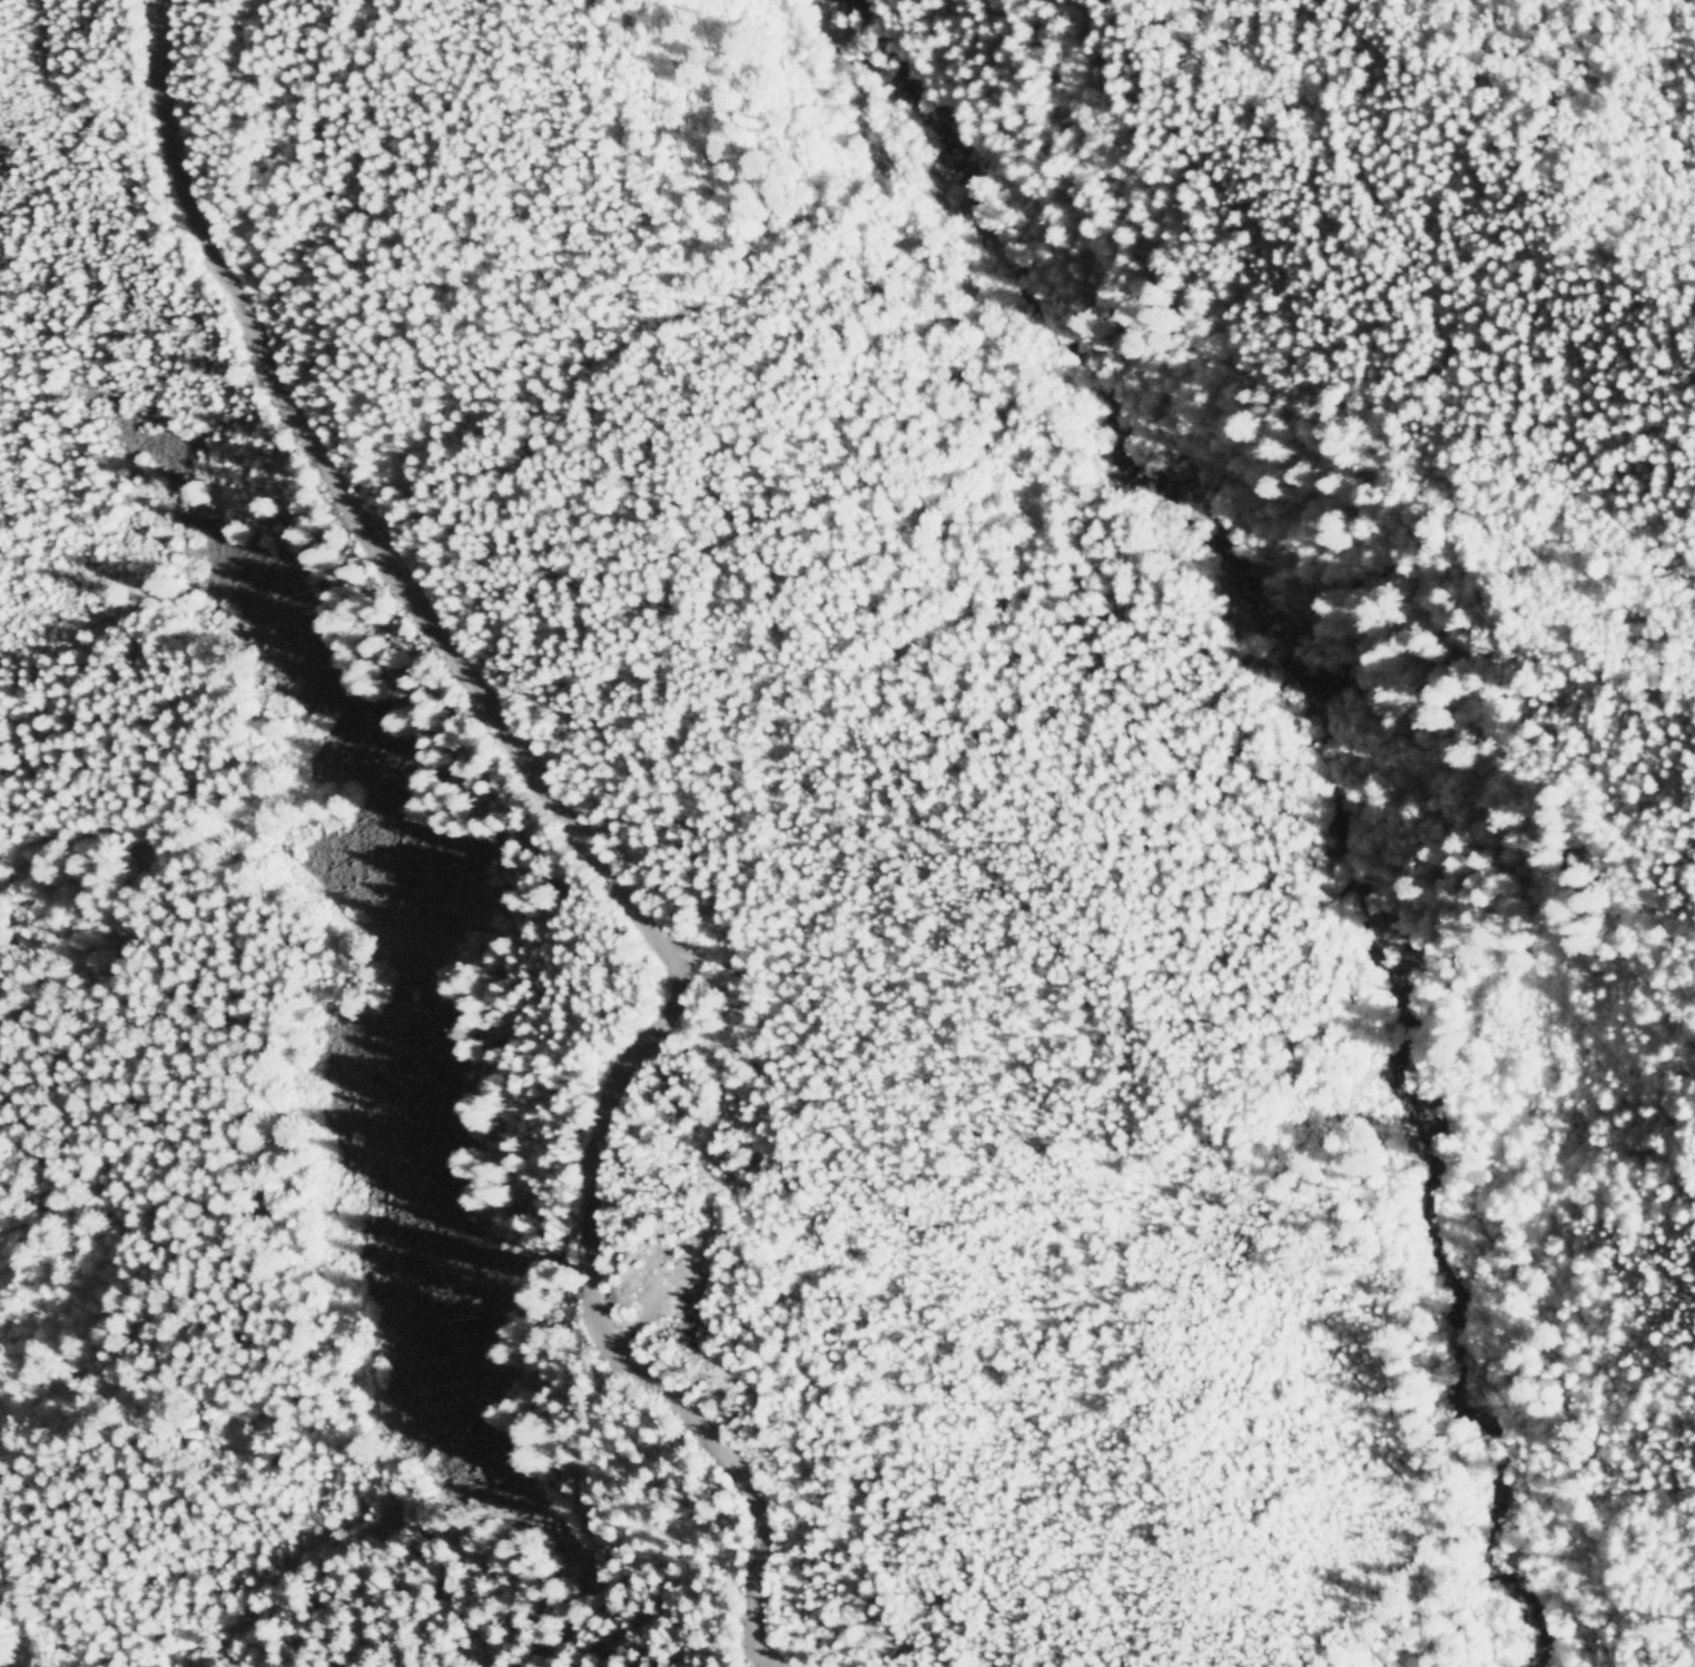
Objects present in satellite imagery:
road: (588, 832)

